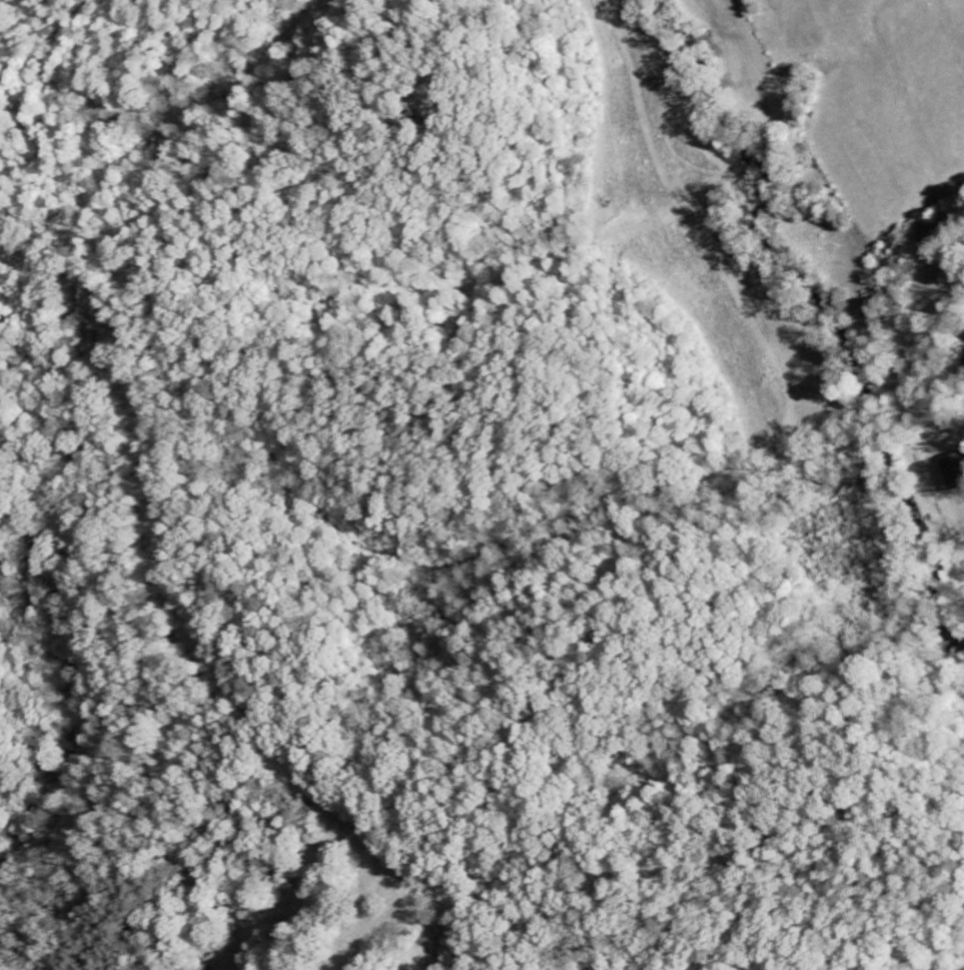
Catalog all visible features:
building: (947, 480)

